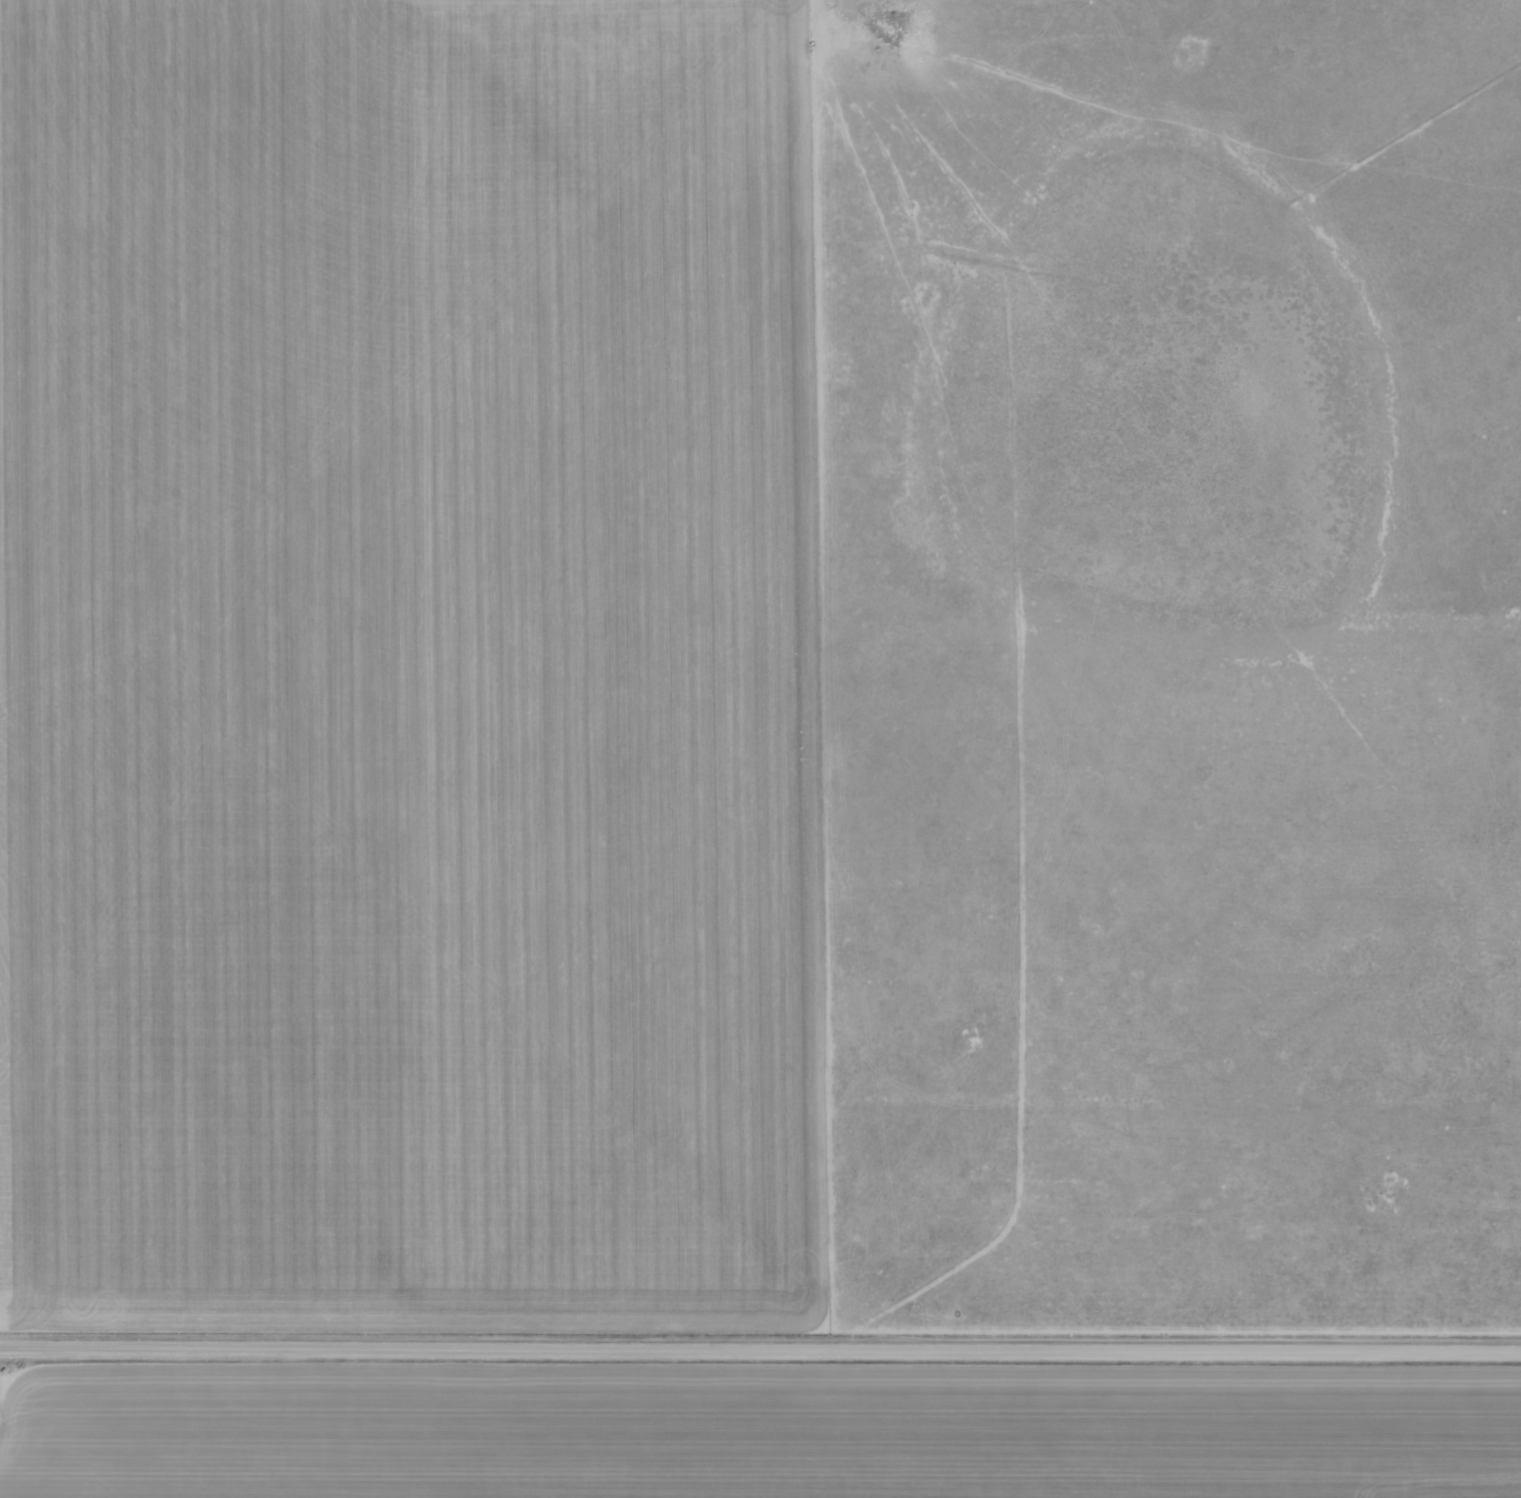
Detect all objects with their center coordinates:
road: (760, 1352)

